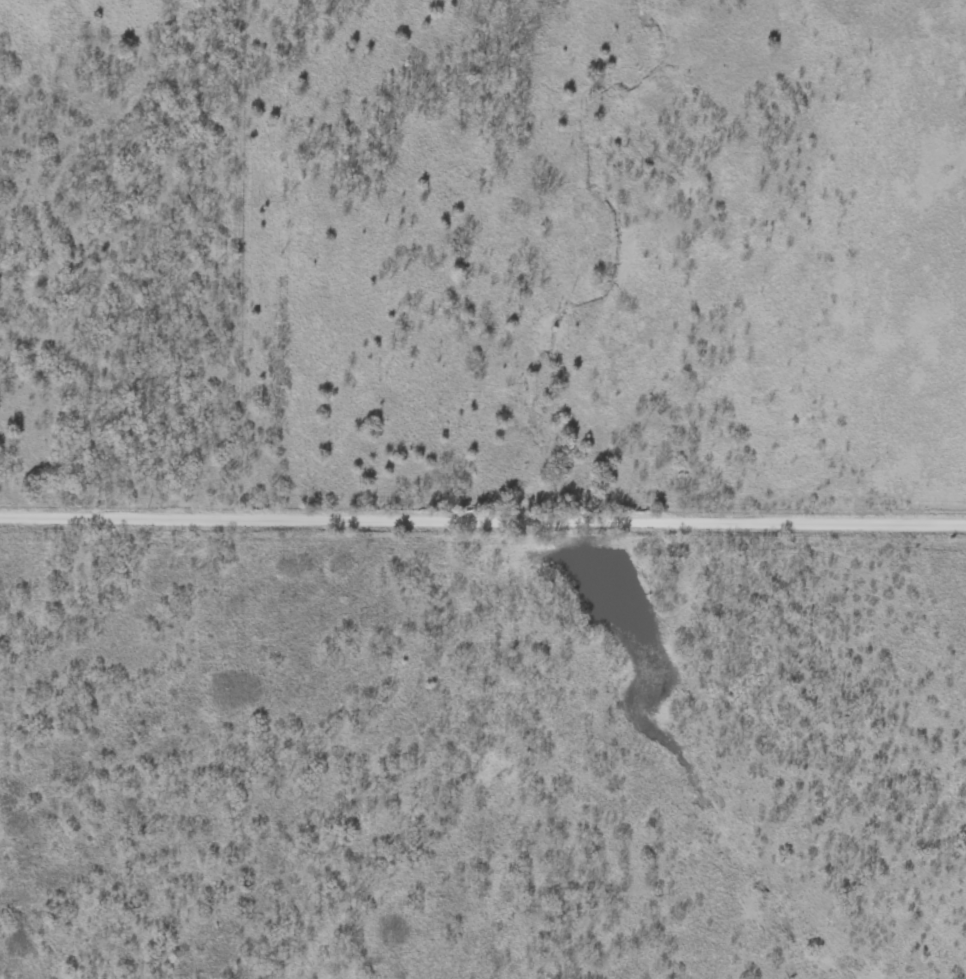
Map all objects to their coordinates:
road: (483, 522)

